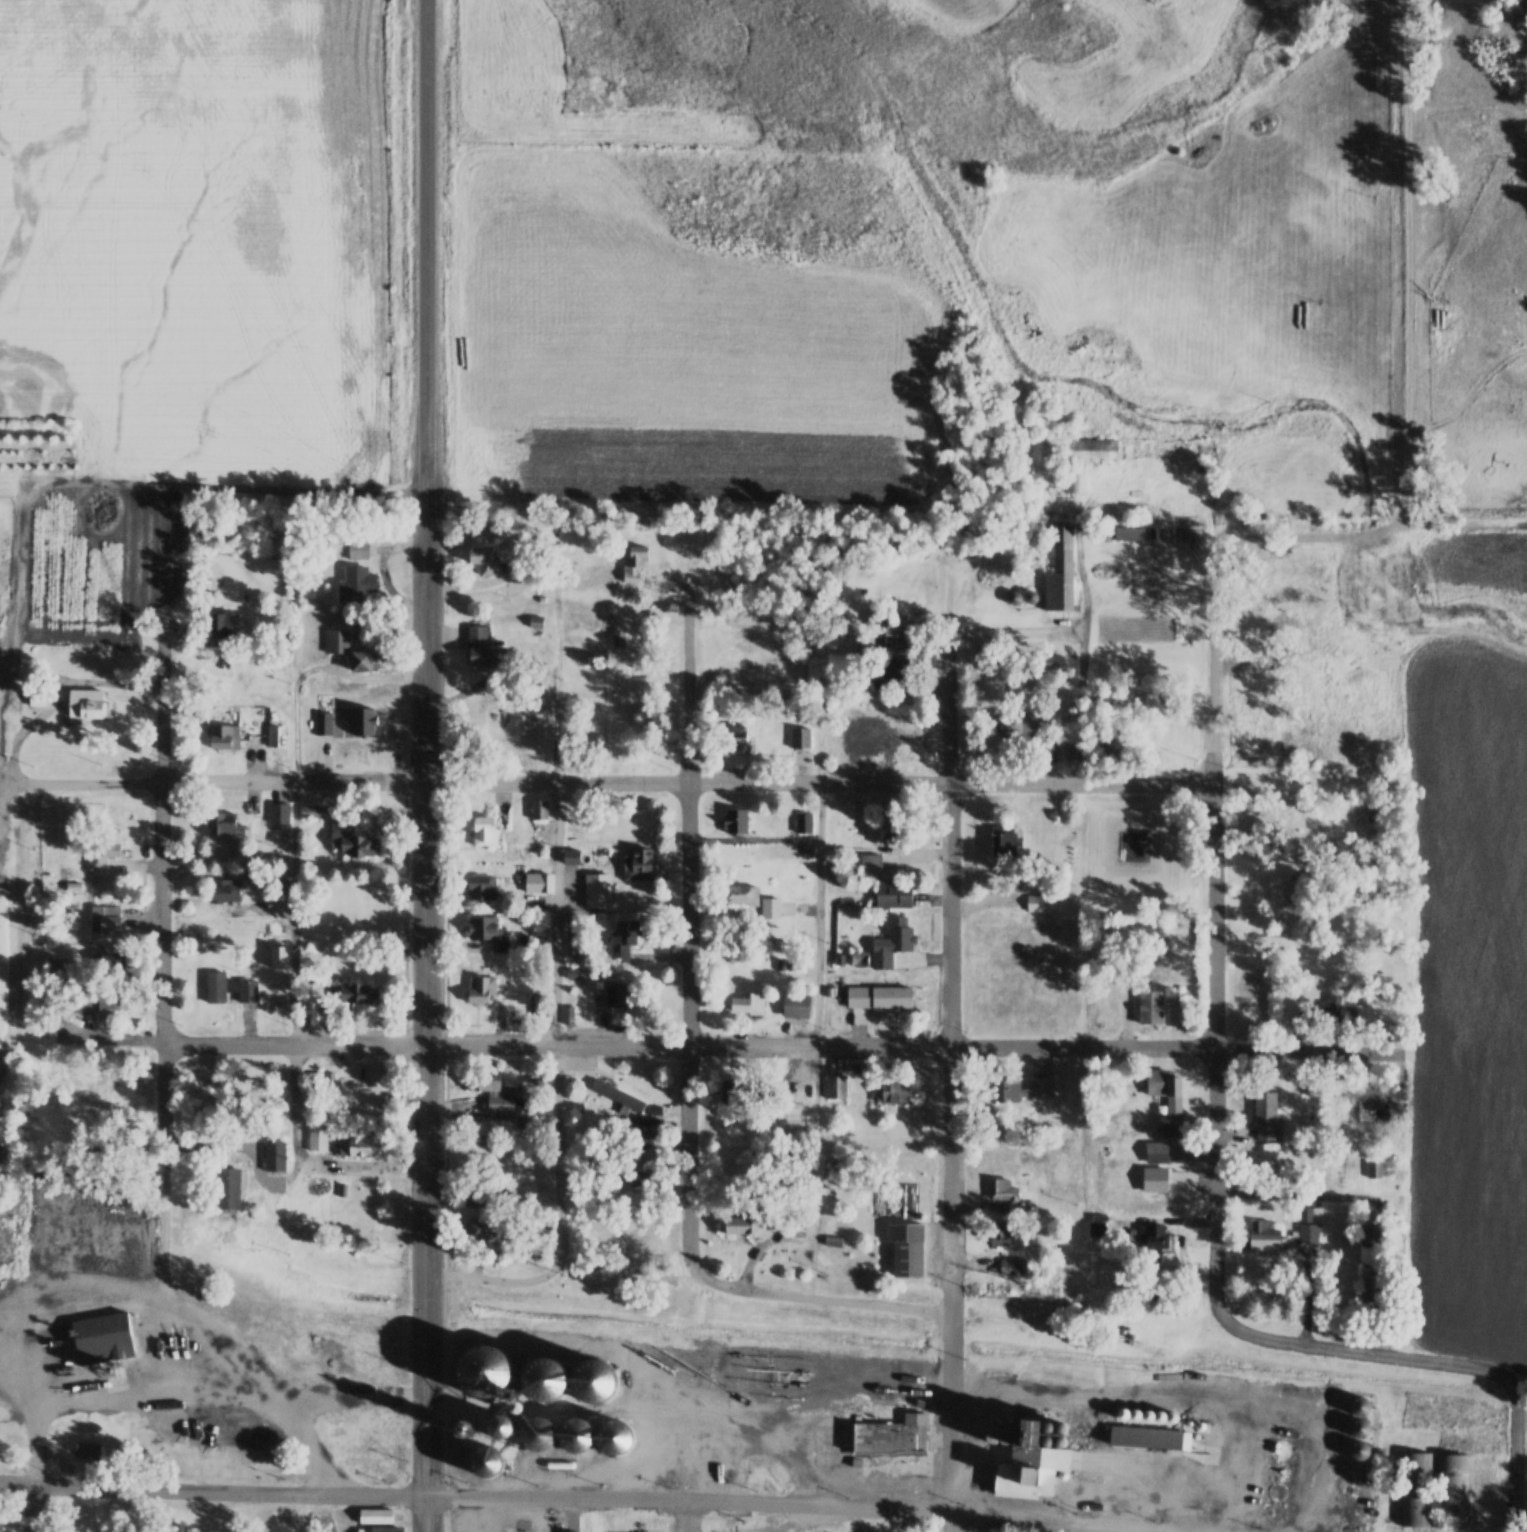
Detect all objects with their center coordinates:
building: (1519, 14)
road: (429, 250)
road: (1408, 336)
building: (1071, 476)
road: (123, 485)
building: (1128, 533)
building: (481, 556)
building: (634, 559)
building: (356, 572)
building: (1059, 573)
building: (1014, 597)
silo: (1014, 597)
building: (1030, 597)
silo: (1030, 597)
building: (221, 622)
building: (534, 622)
building: (891, 625)
building: (1249, 628)
building: (1, 631)
silo: (1, 631)
building: (618, 638)
building: (730, 641)
building: (864, 642)
building: (480, 646)
building: (352, 651)
building: (36, 698)
building: (88, 704)
building: (365, 721)
building: (329, 724)
building: (1008, 726)
building: (900, 731)
building: (735, 733)
building: (223, 734)
building: (275, 734)
building: (800, 737)
building: (1111, 737)
building: (1069, 751)
building: (1047, 752)
road: (8, 779)
road: (688, 782)
road: (89, 784)
road: (2, 790)
building: (540, 809)
building: (312, 811)
building: (279, 813)
building: (735, 820)
building: (802, 822)
building: (224, 823)
building: (881, 828)
building: (484, 830)
building: (351, 838)
building: (1005, 844)
building: (108, 848)
building: (572, 854)
building: (638, 863)
building: (870, 864)
building: (536, 883)
building: (484, 885)
building: (223, 891)
building: (598, 891)
building: (893, 894)
building: (752, 899)
building: (1035, 902)
road: (820, 914)
building: (105, 919)
road: (1215, 925)
building: (486, 931)
building: (624, 938)
building: (891, 941)
road: (162, 954)
building: (278, 954)
building: (857, 958)
building: (56, 969)
building: (98, 969)
building: (574, 973)
road: (294, 974)
building: (228, 987)
building: (479, 992)
building: (358, 993)
building: (619, 994)
building: (880, 995)
building: (96, 1000)
building: (748, 1002)
building: (794, 1004)
building: (1149, 1005)
building: (570, 1014)
road: (426, 1015)
building: (1340, 1015)
road: (769, 1045)
road: (688, 1052)
road: (951, 1080)
building: (323, 1082)
building: (835, 1086)
building: (1023, 1088)
building: (893, 1089)
building: (491, 1090)
building: (732, 1091)
road: (557, 1093)
building: (617, 1096)
building: (1168, 1098)
building: (1371, 1110)
building: (1266, 1115)
building: (652, 1129)
building: (318, 1136)
building: (358, 1141)
building: (273, 1154)
building: (1154, 1167)
building: (1373, 1169)
building: (630, 1173)
building: (229, 1187)
building: (1002, 1188)
building: (475, 1197)
building: (1310, 1223)
building: (742, 1226)
building: (478, 1230)
building: (999, 1232)
building: (1099, 1232)
building: (1369, 1237)
building: (1262, 1238)
building: (831, 1240)
building: (1153, 1241)
building: (906, 1247)
road: (446, 1270)
building: (1013, 1270)
building: (1368, 1284)
building: (102, 1336)
road: (1369, 1354)
building: (483, 1370)
silo: (483, 1370)
building: (542, 1373)
silo: (542, 1373)
building: (593, 1374)
silo: (593, 1374)
road: (205, 1383)
building: (609, 1396)
road: (359, 1400)
building: (1360, 1404)
silo: (1360, 1404)
building: (1120, 1413)
silo: (1120, 1413)
building: (1133, 1414)
silo: (1133, 1414)
building: (1147, 1415)
silo: (1147, 1415)
building: (1159, 1416)
silo: (1159, 1416)
building: (1173, 1416)
silo: (1173, 1416)
road: (1521, 1416)
road: (302, 1420)
building: (988, 1420)
silo: (988, 1420)
building: (1002, 1421)
silo: (1002, 1421)
building: (1045, 1423)
silo: (1045, 1423)
building: (1059, 1423)
silo: (1059, 1423)
building: (499, 1424)
silo: (499, 1424)
building: (1358, 1427)
silo: (1358, 1427)
building: (536, 1432)
silo: (536, 1432)
building: (577, 1432)
silo: (577, 1432)
building: (614, 1434)
silo: (614, 1434)
building: (890, 1435)
building: (988, 1435)
silo: (988, 1435)
building: (1149, 1435)
building: (1001, 1437)
silo: (1001, 1437)
building: (1044, 1438)
silo: (1044, 1438)
building: (1058, 1438)
silo: (1058, 1438)
building: (1279, 1448)
silo: (1279, 1448)
road: (34, 1449)
building: (1358, 1450)
silo: (1358, 1450)
building: (87, 1453)
building: (703, 1454)
silo: (703, 1454)
building: (720, 1455)
silo: (720, 1455)
road: (1515, 1460)
building: (485, 1461)
silo: (485, 1461)
building: (675, 1461)
silo: (675, 1461)
building: (1026, 1463)
building: (1278, 1470)
silo: (1278, 1470)
building: (702, 1472)
silo: (702, 1472)
building: (719, 1472)
silo: (719, 1472)
building: (1416, 1489)
building: (1452, 1490)
building: (1276, 1491)
silo: (1276, 1491)
road: (594, 1499)
road: (33, 1509)
building: (1274, 1511)
silo: (1274, 1511)
road: (408, 1514)
road: (445, 1514)
building: (375, 1515)
road: (688, 1516)
building: (2, 1526)
building: (381, 1529)
building: (573, 1531)

